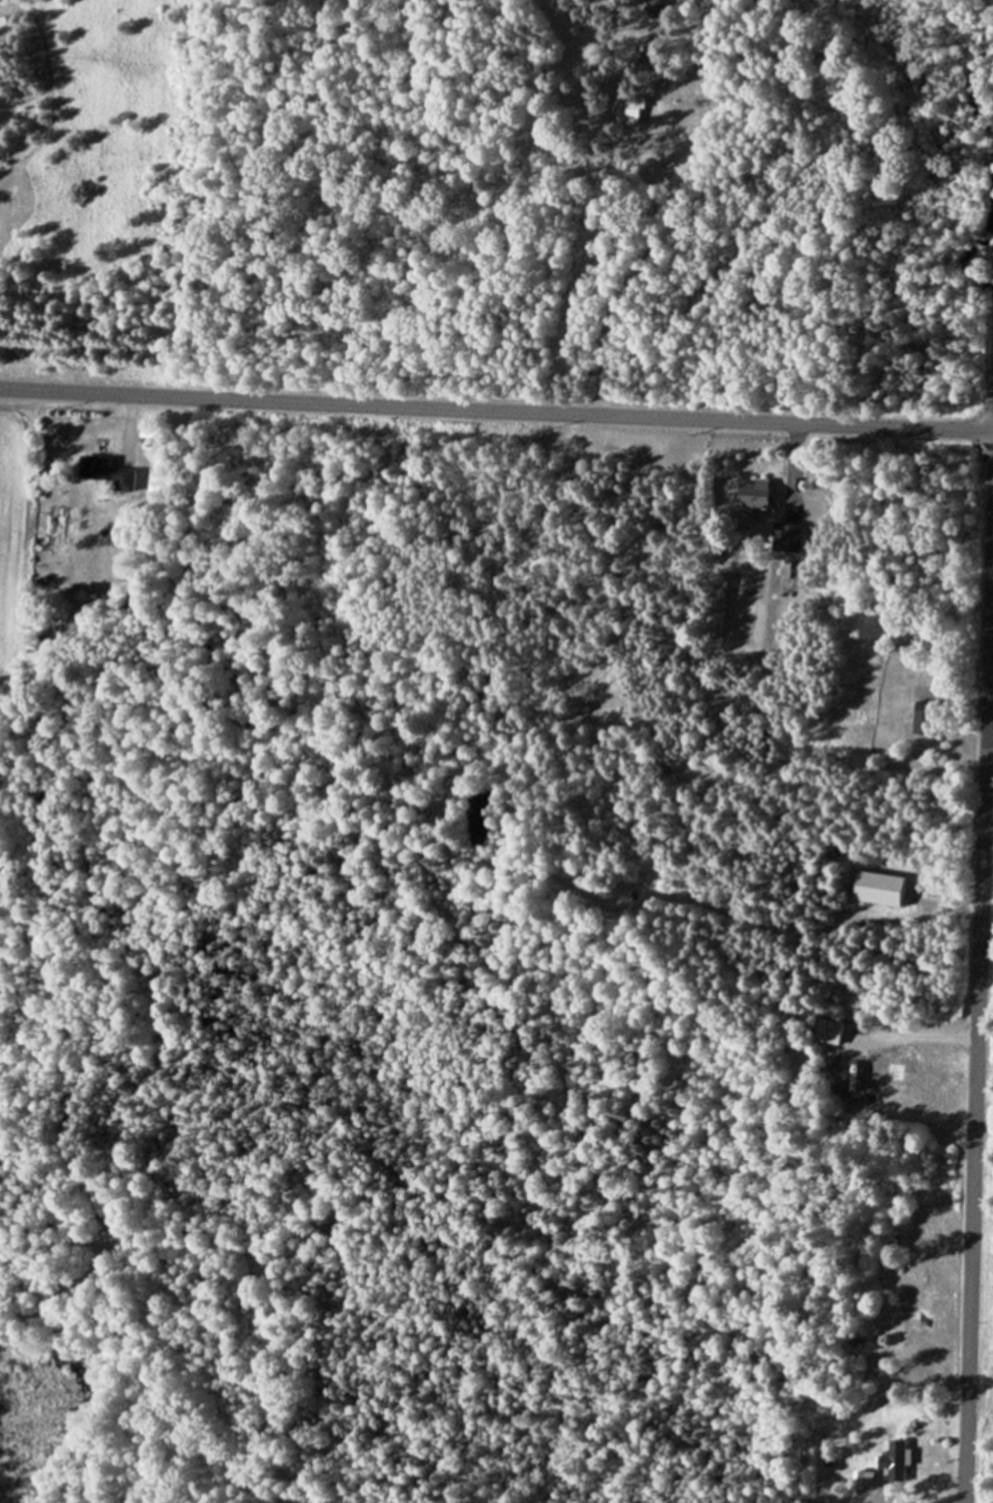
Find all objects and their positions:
building: (655, 4)
building: (630, 111)
road: (496, 412)
road: (125, 420)
road: (794, 462)
building: (108, 473)
building: (748, 494)
road: (979, 987)
building: (898, 1460)

